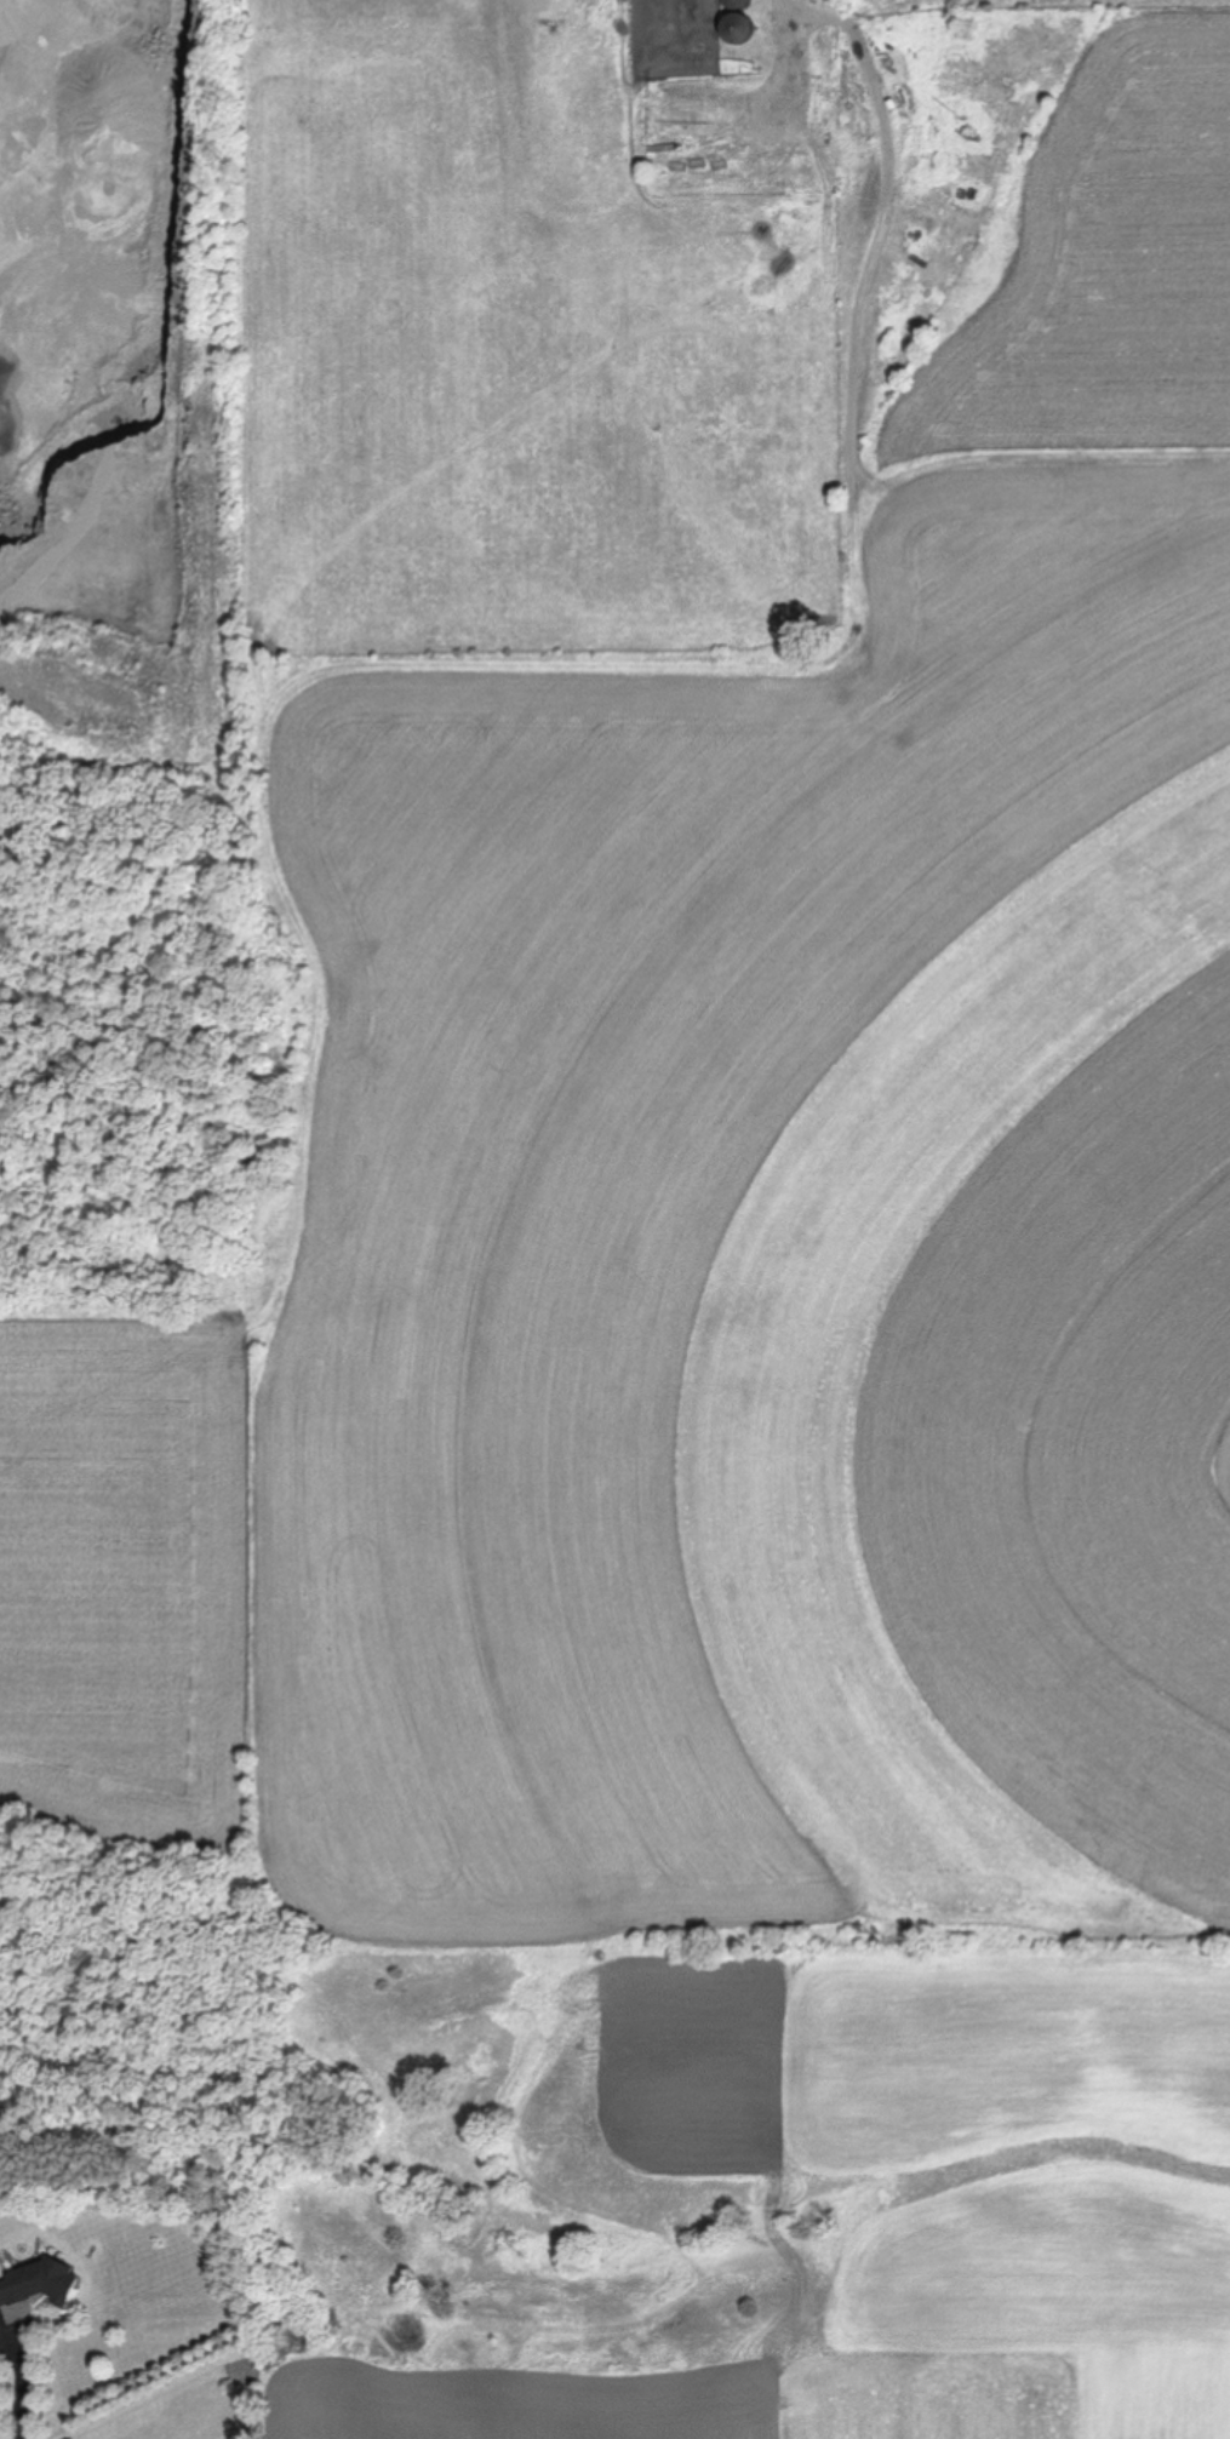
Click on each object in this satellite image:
building: (737, 4)
building: (737, 30)
road: (790, 58)
quarry: (126, 543)
crop: (702, 1287)
building: (34, 2289)
road: (21, 2386)

